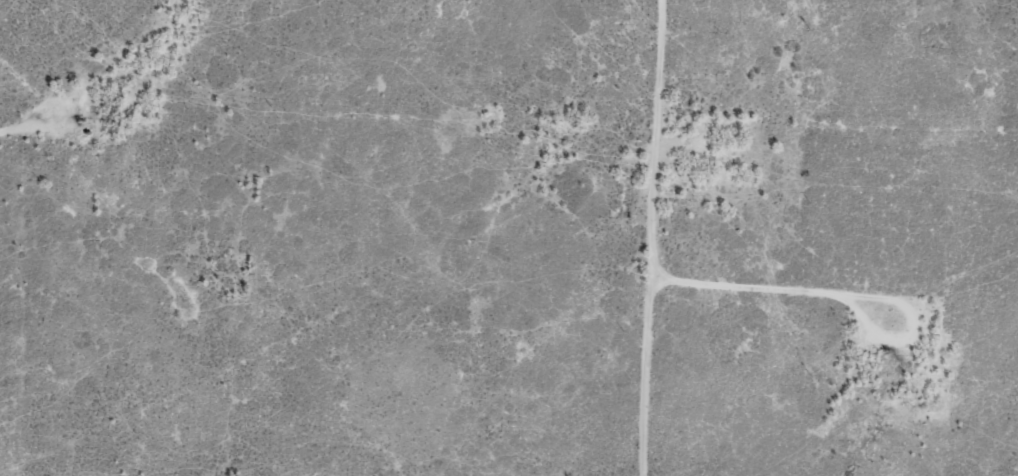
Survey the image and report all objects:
road: (148, 120)
road: (863, 153)
road: (703, 239)
road: (93, 267)

